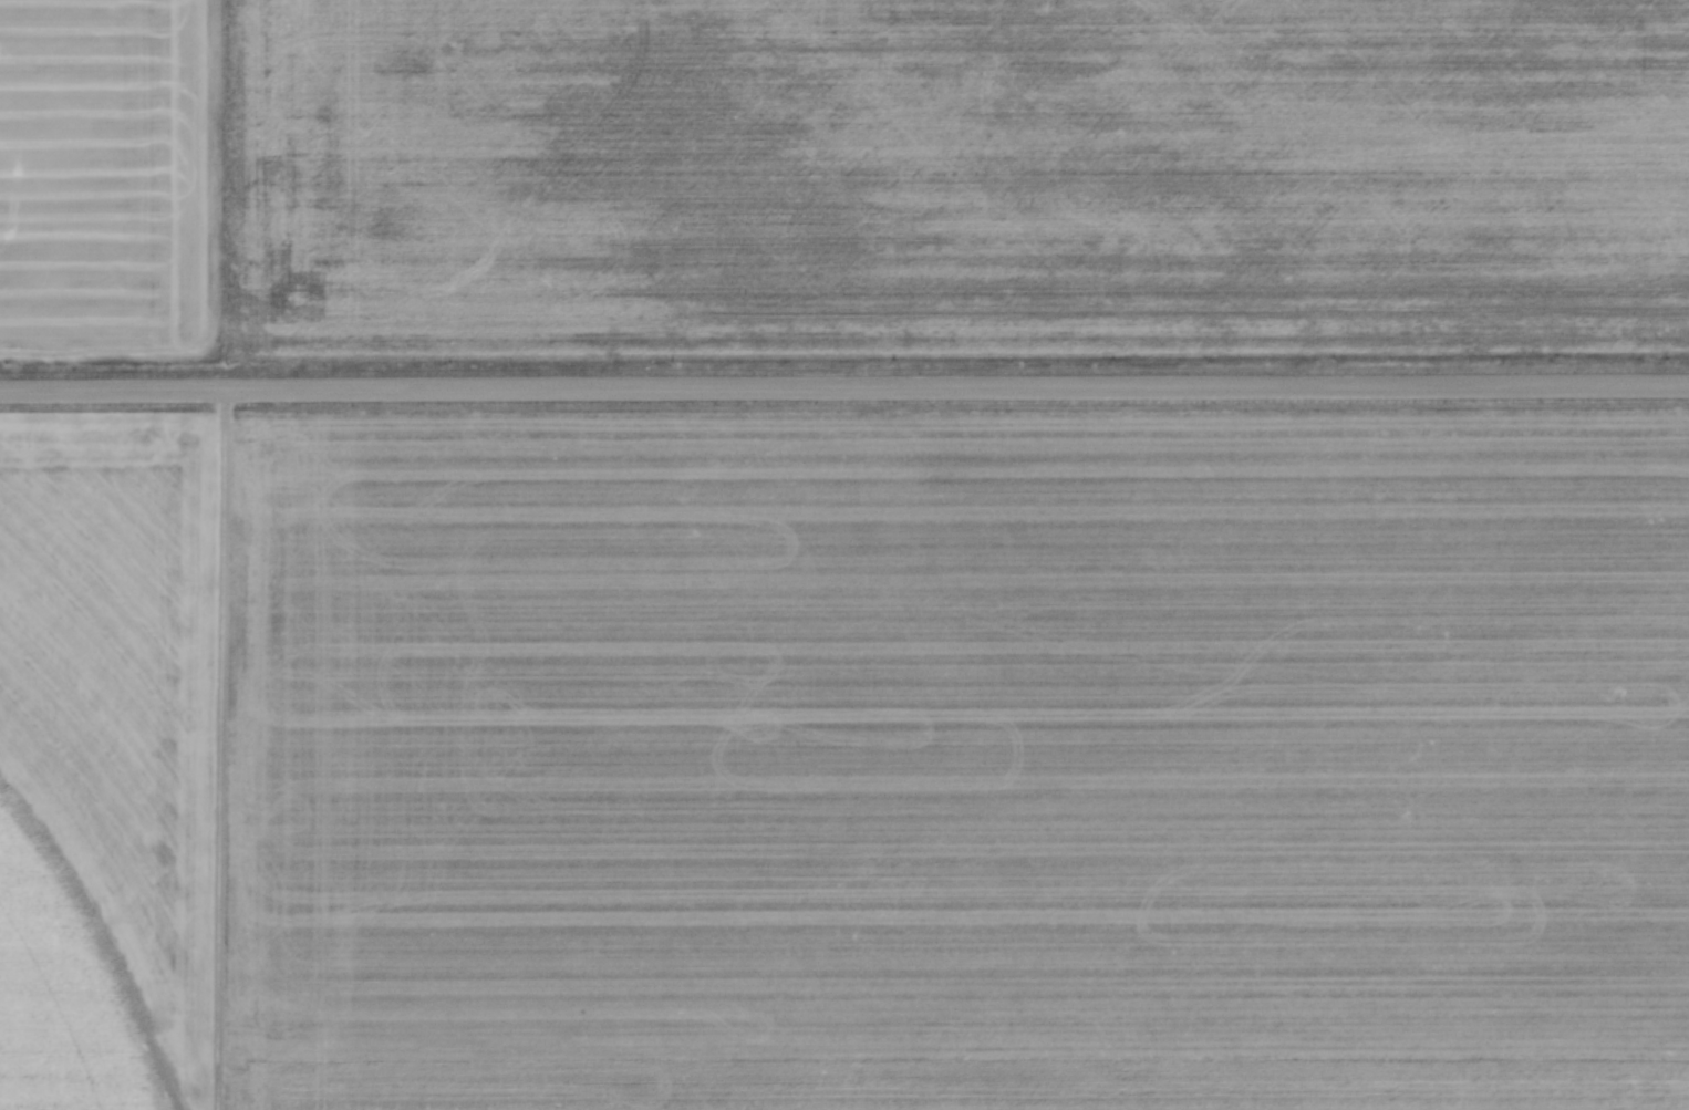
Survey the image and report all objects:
crop: (839, 179)
road: (844, 387)
crop: (846, 764)

